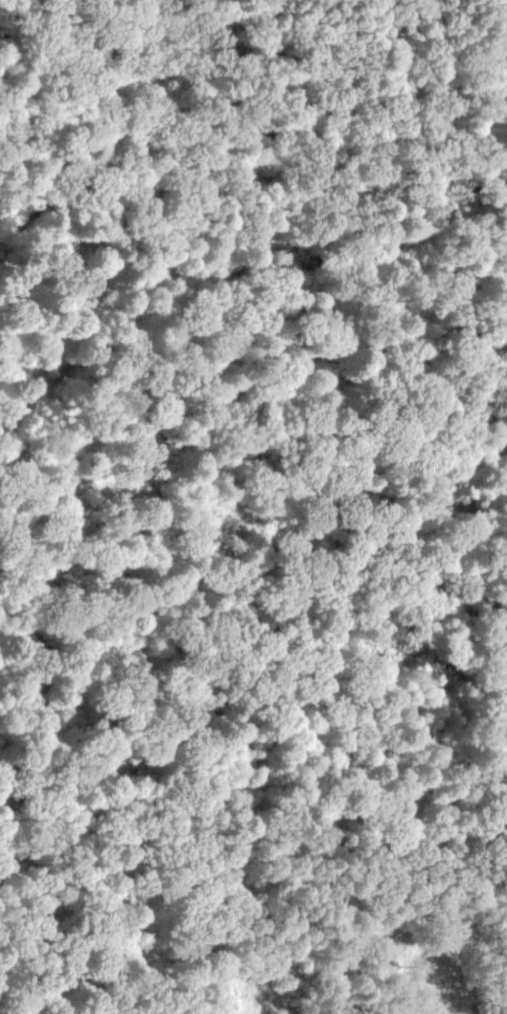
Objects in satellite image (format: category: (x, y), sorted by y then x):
road: (131, 120)
road: (179, 447)
park: (253, 507)
road: (44, 556)
road: (249, 785)

